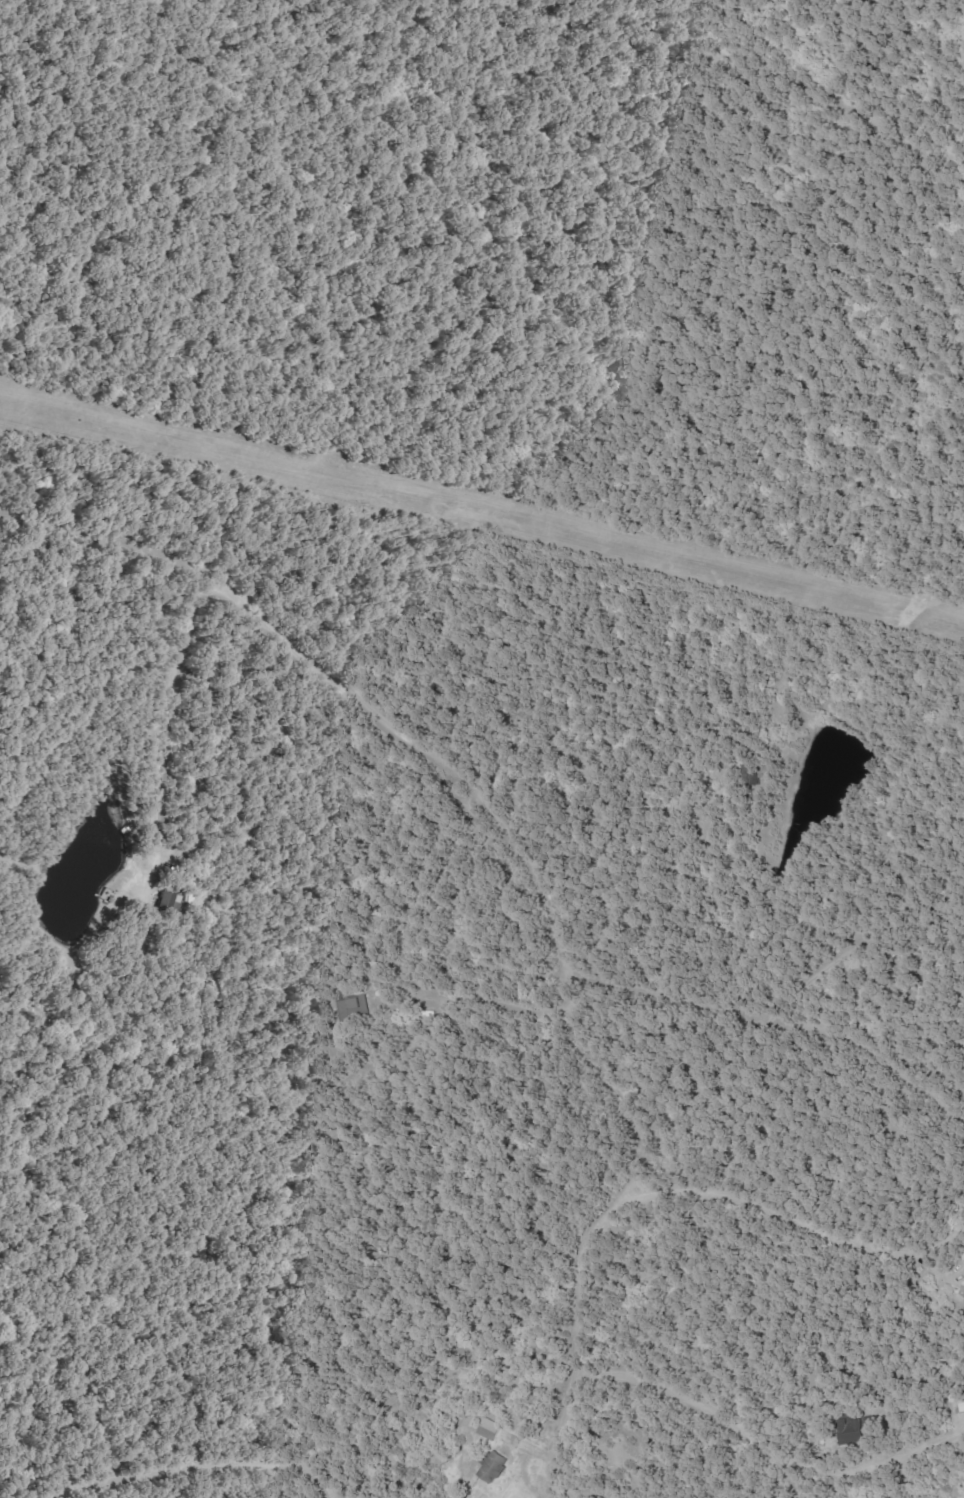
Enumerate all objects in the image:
road: (402, 758)
road: (805, 1214)
road: (579, 1333)
road: (358, 1382)
building: (491, 1430)
road: (765, 1443)
road: (197, 1462)
building: (495, 1466)
road: (122, 1485)

